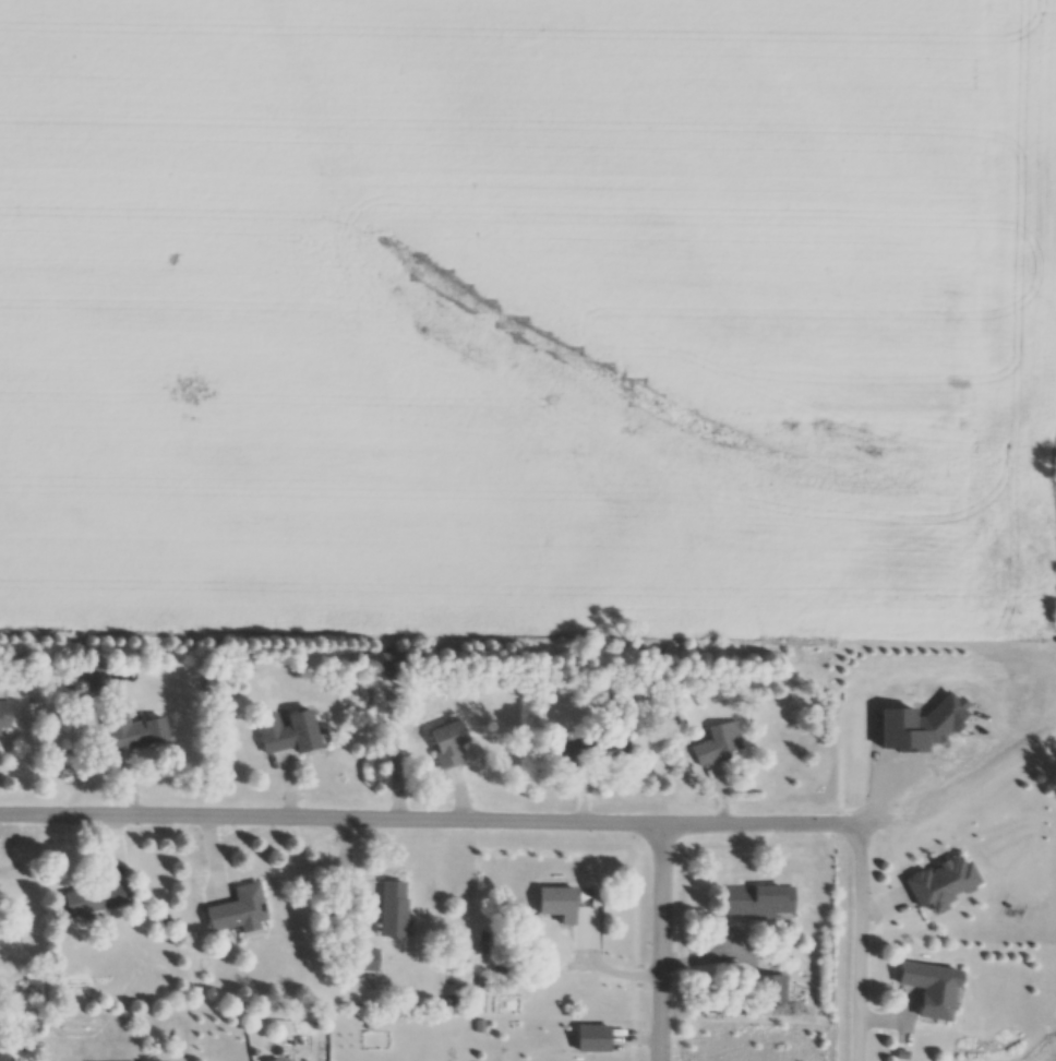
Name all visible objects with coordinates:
building: (242, 660)
building: (393, 666)
building: (5, 716)
building: (289, 732)
building: (139, 736)
building: (449, 744)
building: (721, 744)
building: (593, 750)
road: (965, 756)
road: (334, 820)
road: (763, 824)
building: (94, 901)
building: (759, 903)
building: (560, 905)
building: (395, 910)
building: (239, 913)
road: (665, 942)
road: (860, 944)
building: (772, 989)
building: (934, 990)
building: (3, 1057)

